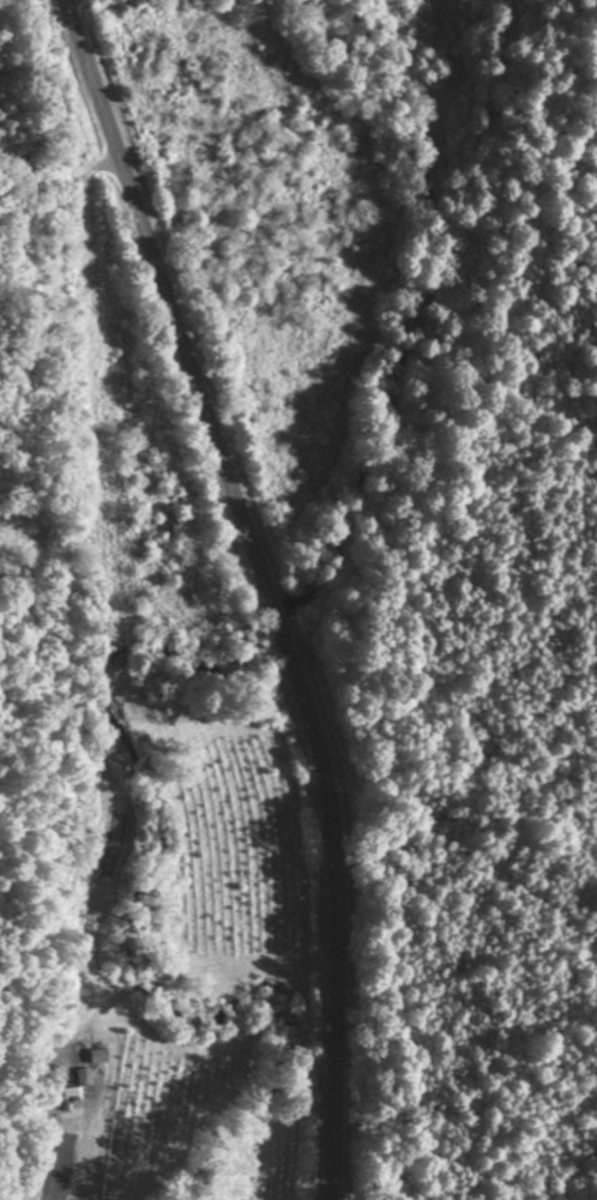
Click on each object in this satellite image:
road: (54, 179)
road: (258, 589)

